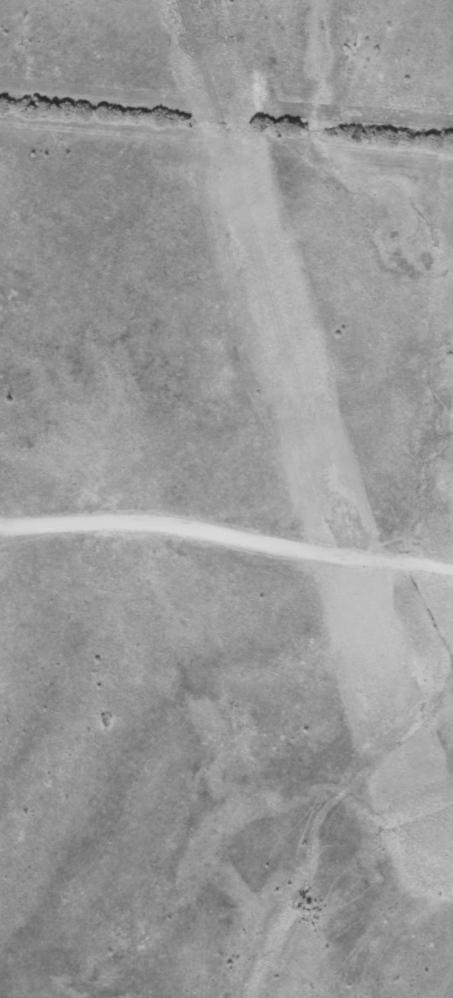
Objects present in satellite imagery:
road: (227, 531)

